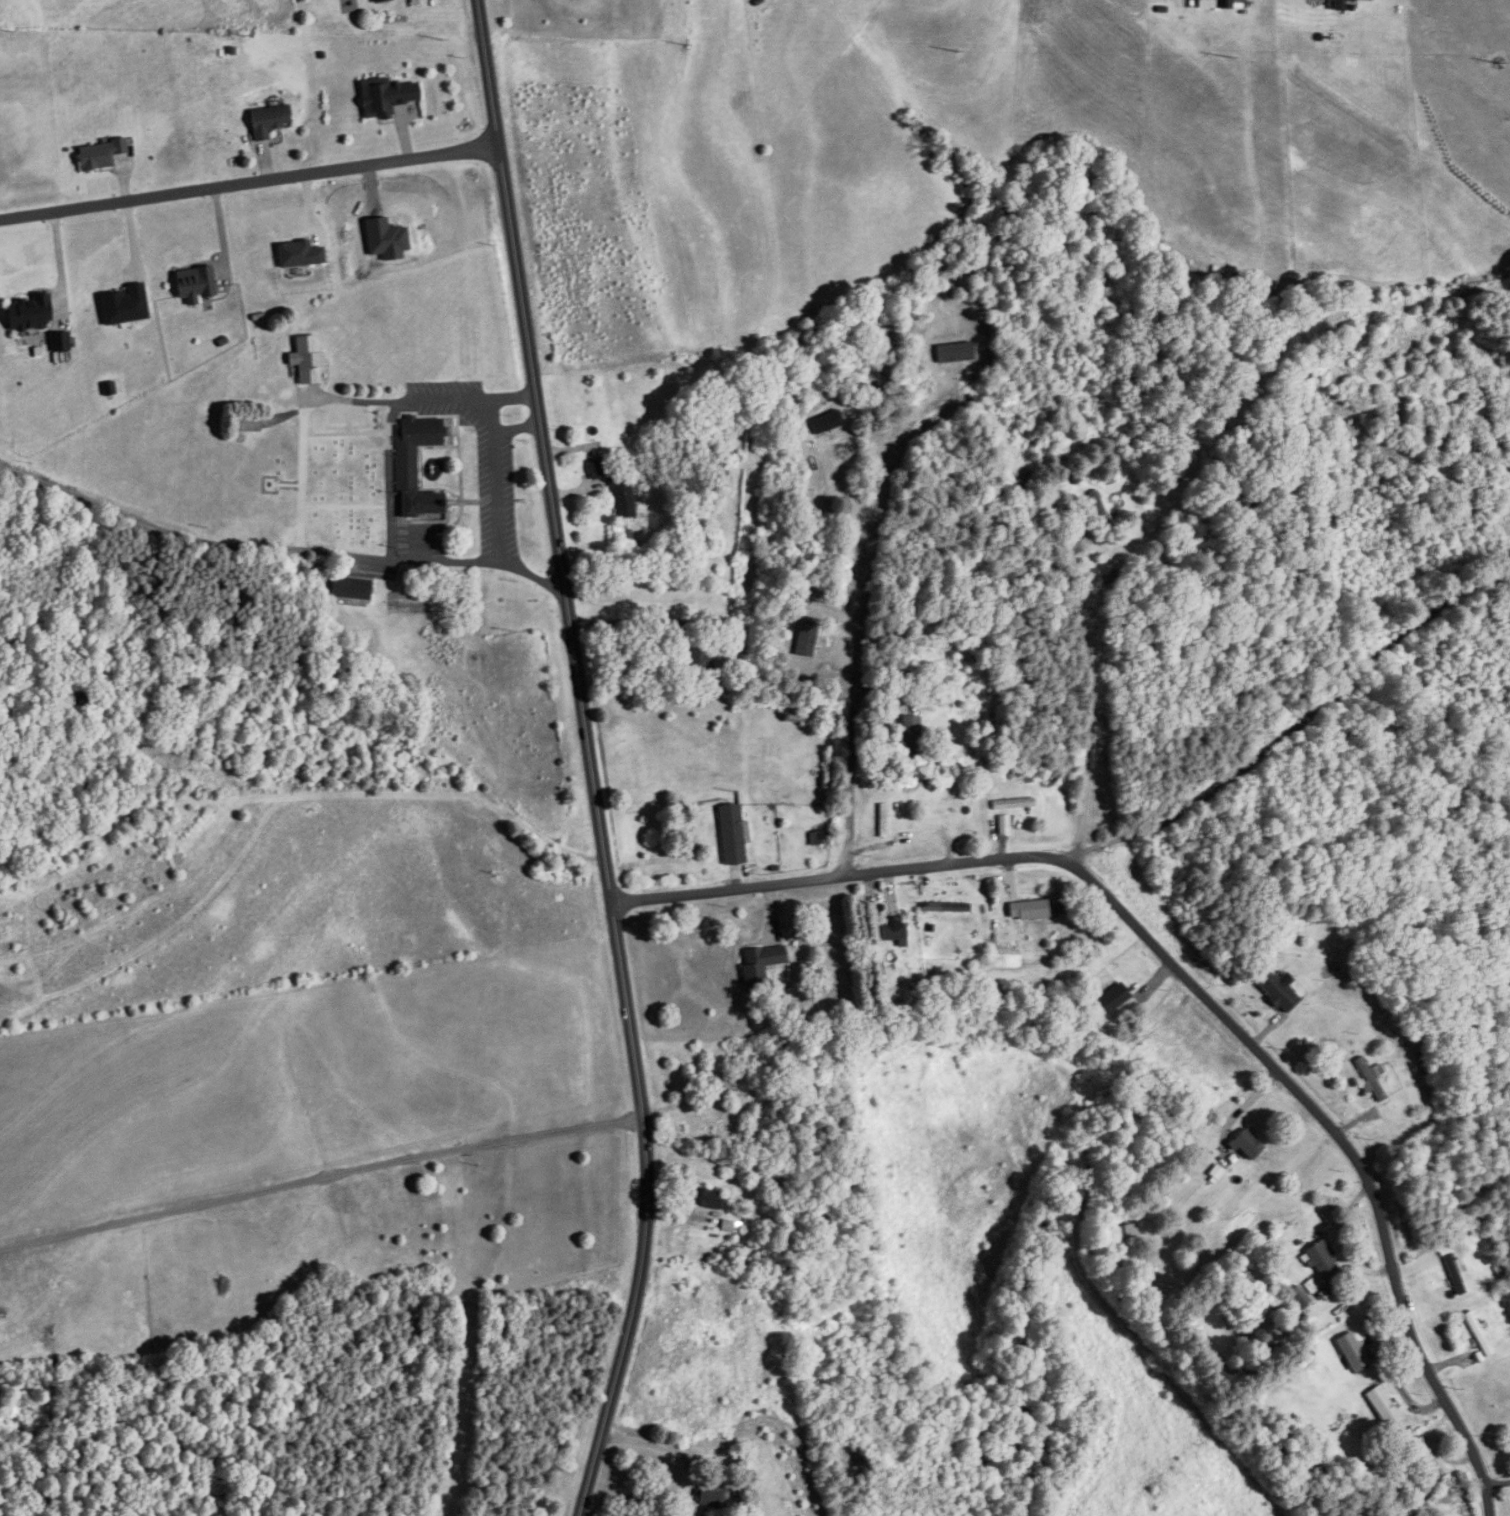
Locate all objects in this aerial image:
building: (377, 0)
building: (1341, 0)
building: (1223, 4)
building: (384, 96)
building: (268, 120)
building: (99, 154)
road: (244, 179)
road: (57, 260)
building: (194, 283)
building: (29, 312)
building: (59, 341)
building: (307, 359)
road: (418, 398)
building: (826, 420)
building: (245, 424)
road: (513, 427)
building: (415, 467)
road: (301, 472)
road: (501, 480)
building: (613, 485)
road: (273, 548)
building: (349, 588)
road: (859, 602)
road: (1427, 604)
road: (672, 621)
building: (700, 658)
road: (1091, 694)
building: (78, 698)
building: (908, 735)
road: (583, 760)
building: (1012, 804)
building: (882, 821)
building: (731, 835)
building: (817, 838)
road: (1010, 856)
building: (1027, 910)
building: (889, 934)
building: (759, 965)
building: (1273, 989)
building: (1112, 998)
building: (1369, 1079)
building: (1246, 1144)
road: (1339, 1146)
building: (707, 1198)
building: (1126, 1231)
building: (1321, 1259)
building: (1453, 1274)
building: (1244, 1279)
building: (1477, 1334)
building: (1351, 1350)
building: (1382, 1406)
building: (1430, 1454)
building: (860, 1461)
road: (1496, 1482)
building: (709, 1495)

